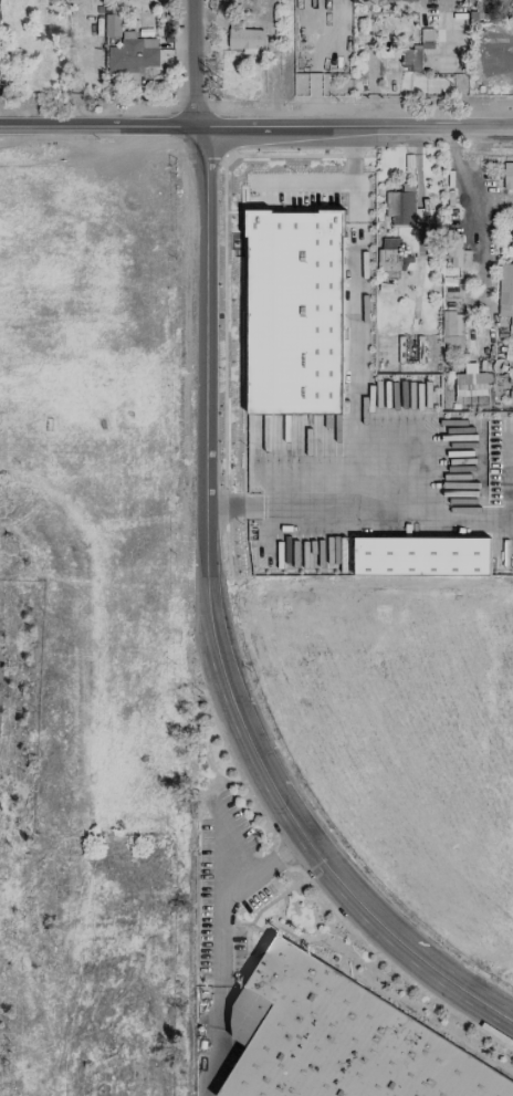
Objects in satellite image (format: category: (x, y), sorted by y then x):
building: (113, 22)
building: (245, 39)
building: (165, 43)
building: (132, 54)
building: (411, 59)
road: (371, 62)
road: (193, 64)
road: (255, 129)
building: (507, 175)
road: (305, 181)
building: (399, 207)
road: (481, 230)
building: (392, 255)
building: (459, 255)
building: (505, 292)
building: (294, 312)
road: (359, 315)
building: (452, 327)
building: (470, 384)
road: (278, 503)
building: (421, 556)
road: (211, 633)
road: (224, 949)
building: (341, 1042)

